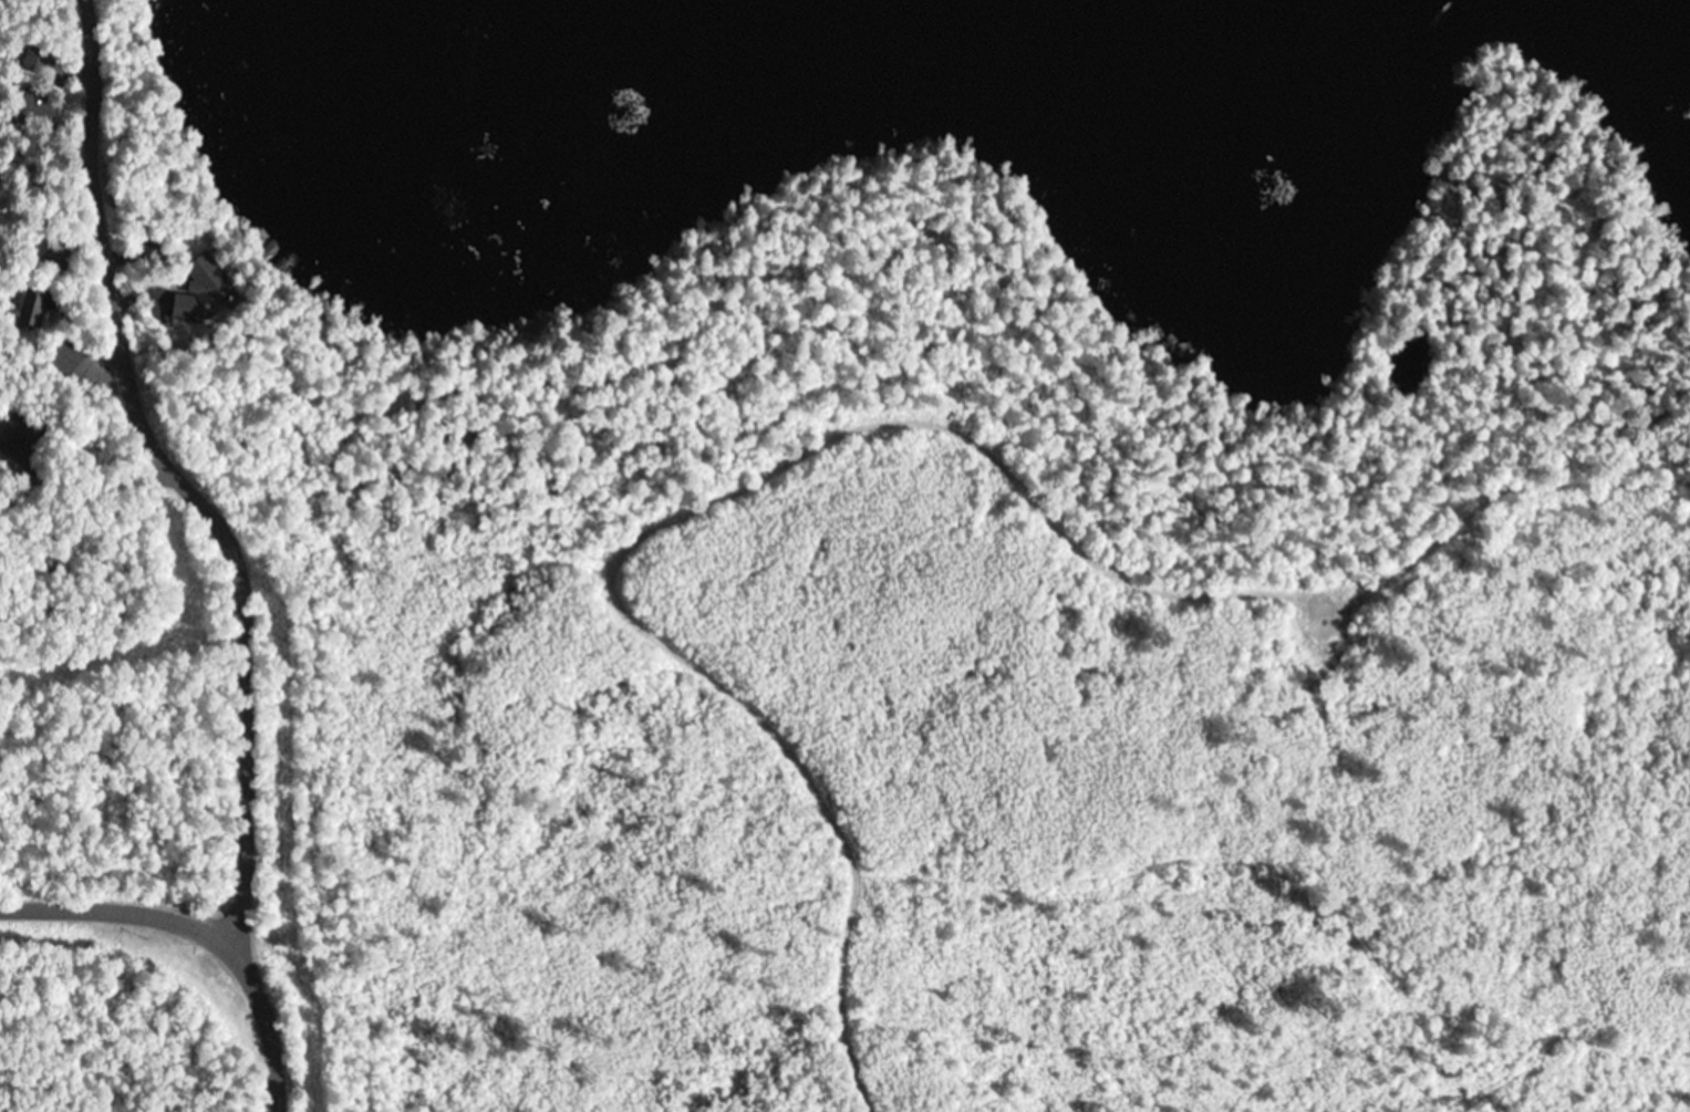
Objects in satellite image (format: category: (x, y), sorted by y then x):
river: (1164, 0)
river: (1673, 10)
building: (35, 56)
building: (38, 105)
building: (208, 279)
building: (32, 309)
building: (64, 356)
building: (12, 427)
road: (174, 476)
road: (89, 635)
road: (203, 931)

